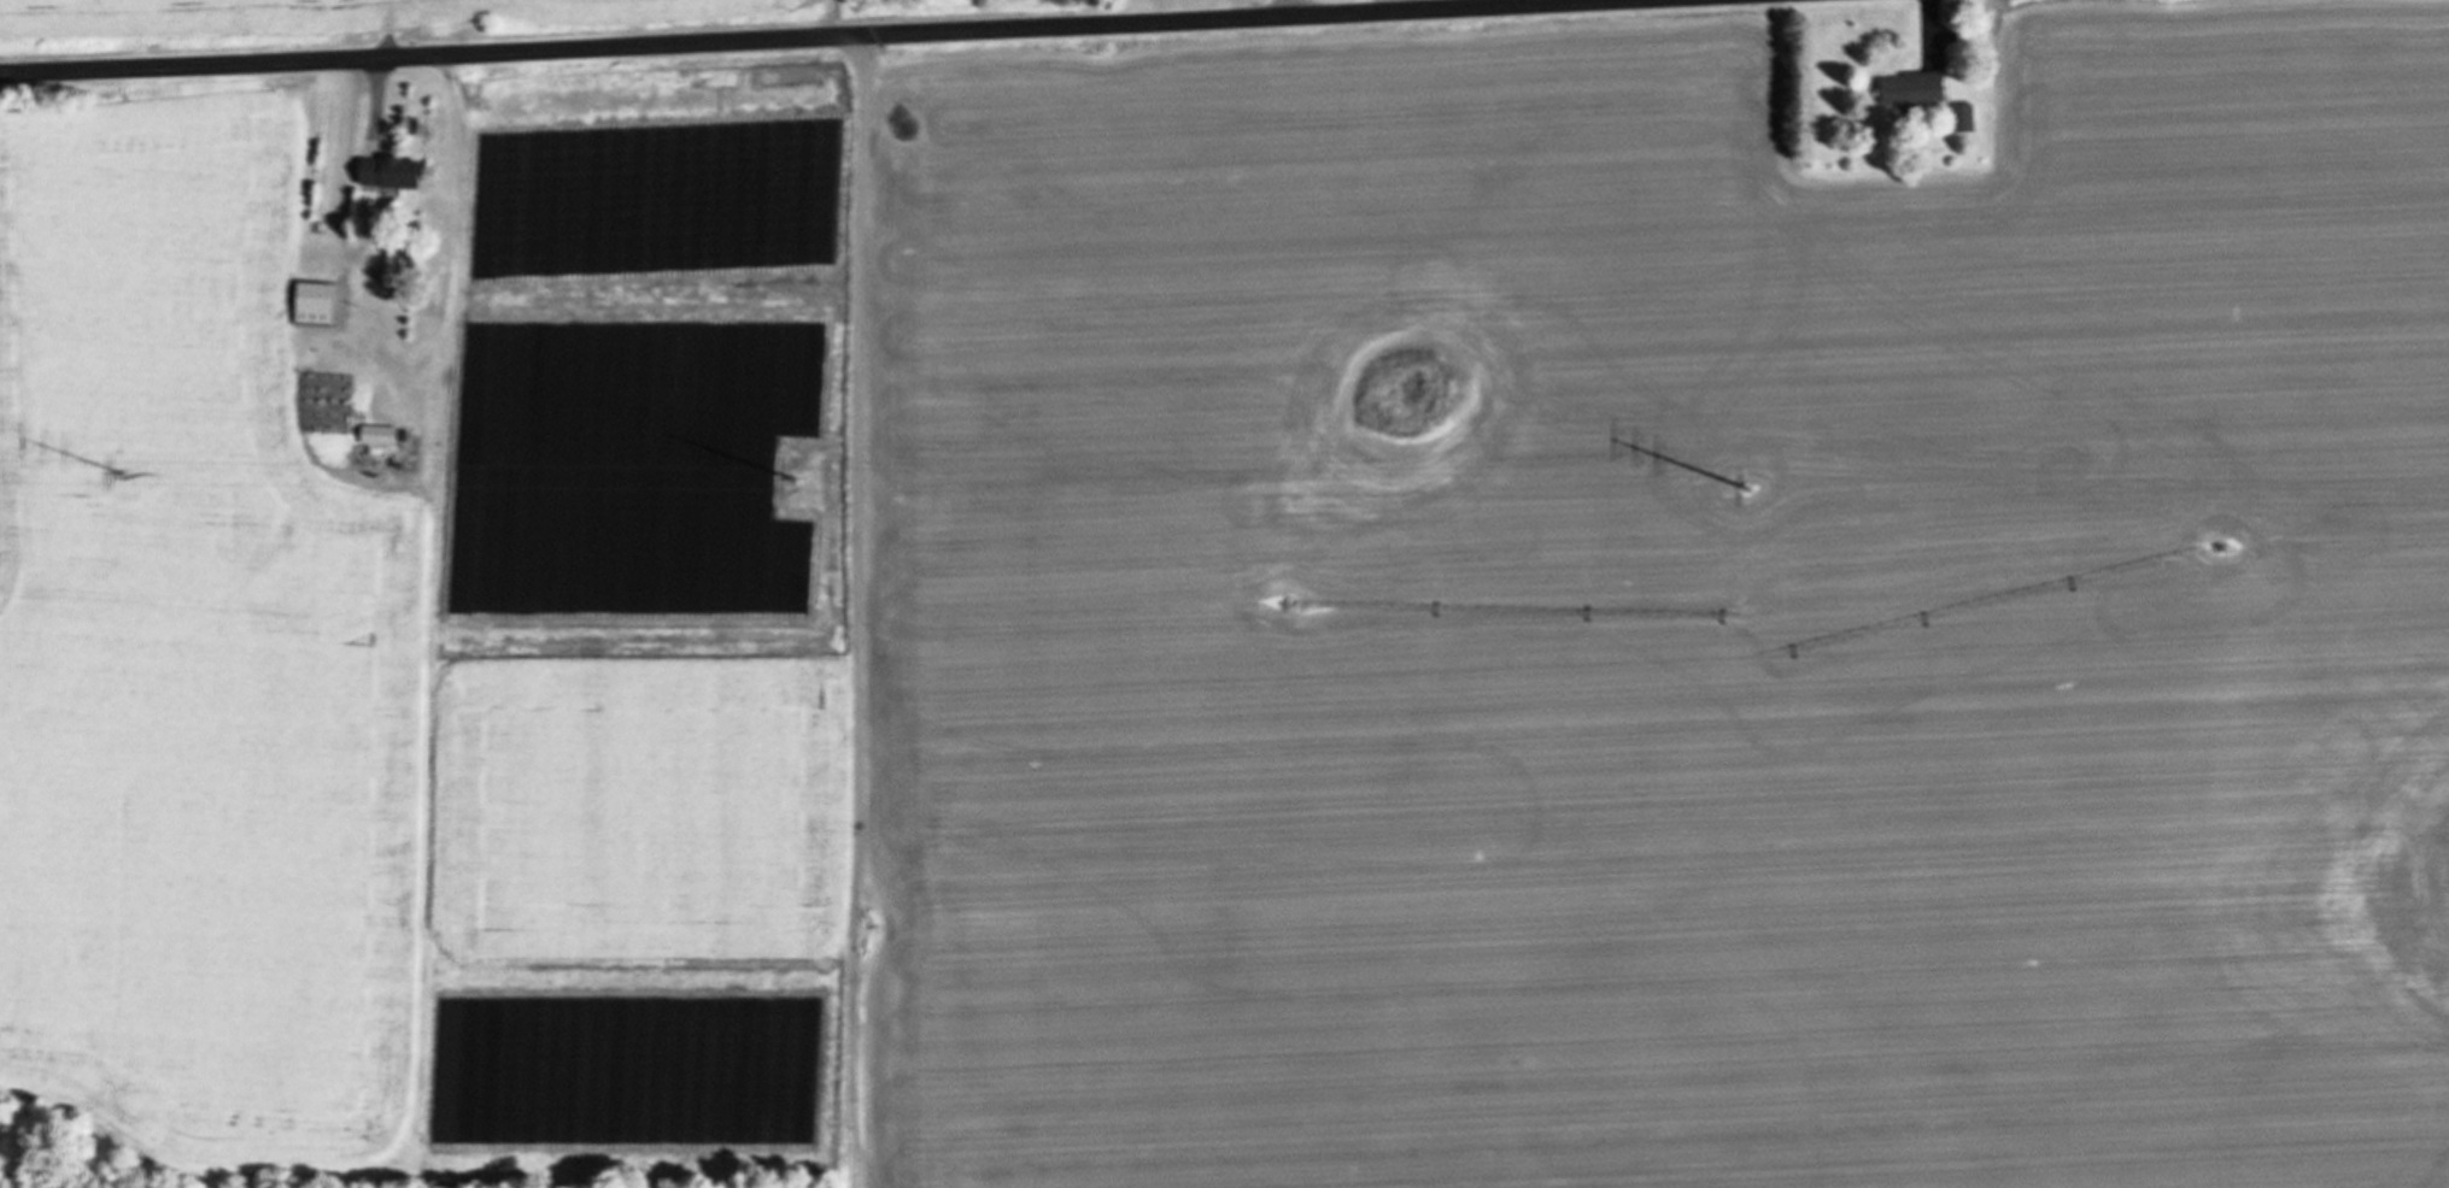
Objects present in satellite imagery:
road: (828, 36)
building: (1909, 88)
building: (1962, 118)
building: (383, 170)
building: (376, 434)
power tower: (119, 470)
power tower: (791, 477)
power tower: (1746, 488)

